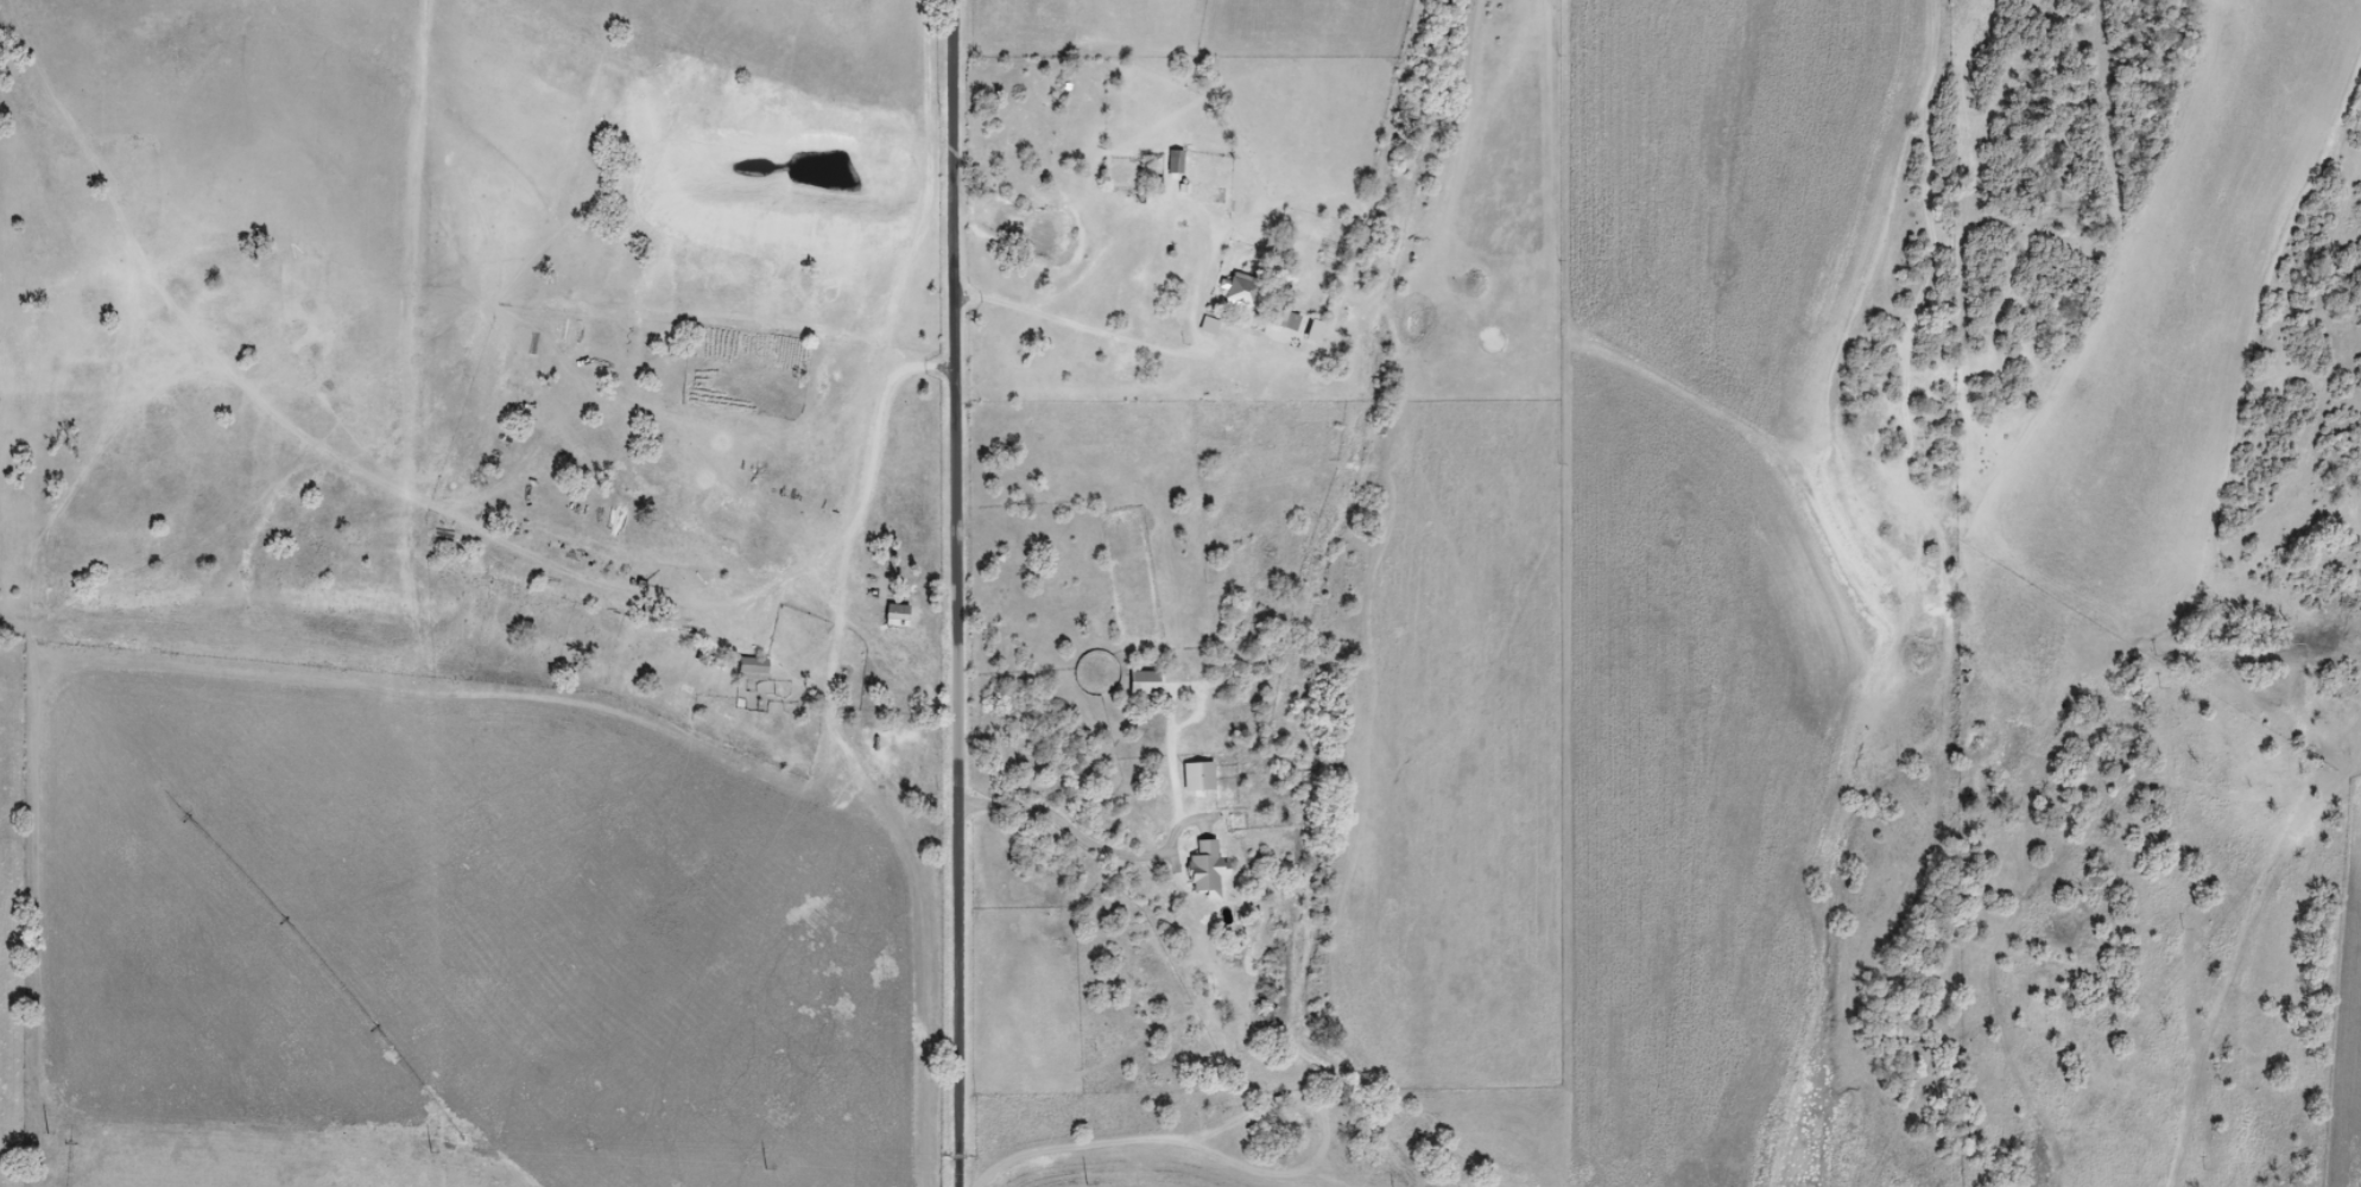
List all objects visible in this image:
building: (1175, 161)
building: (1241, 291)
road: (1095, 317)
building: (1286, 319)
road: (958, 592)
building: (897, 616)
building: (754, 668)
building: (1147, 683)
road: (2298, 831)
road: (1106, 853)
building: (1209, 868)
road: (2050, 874)
power tower: (48, 1131)
road: (1147, 1140)
power tower: (431, 1151)
power tower: (766, 1168)
power tower: (1088, 1183)

